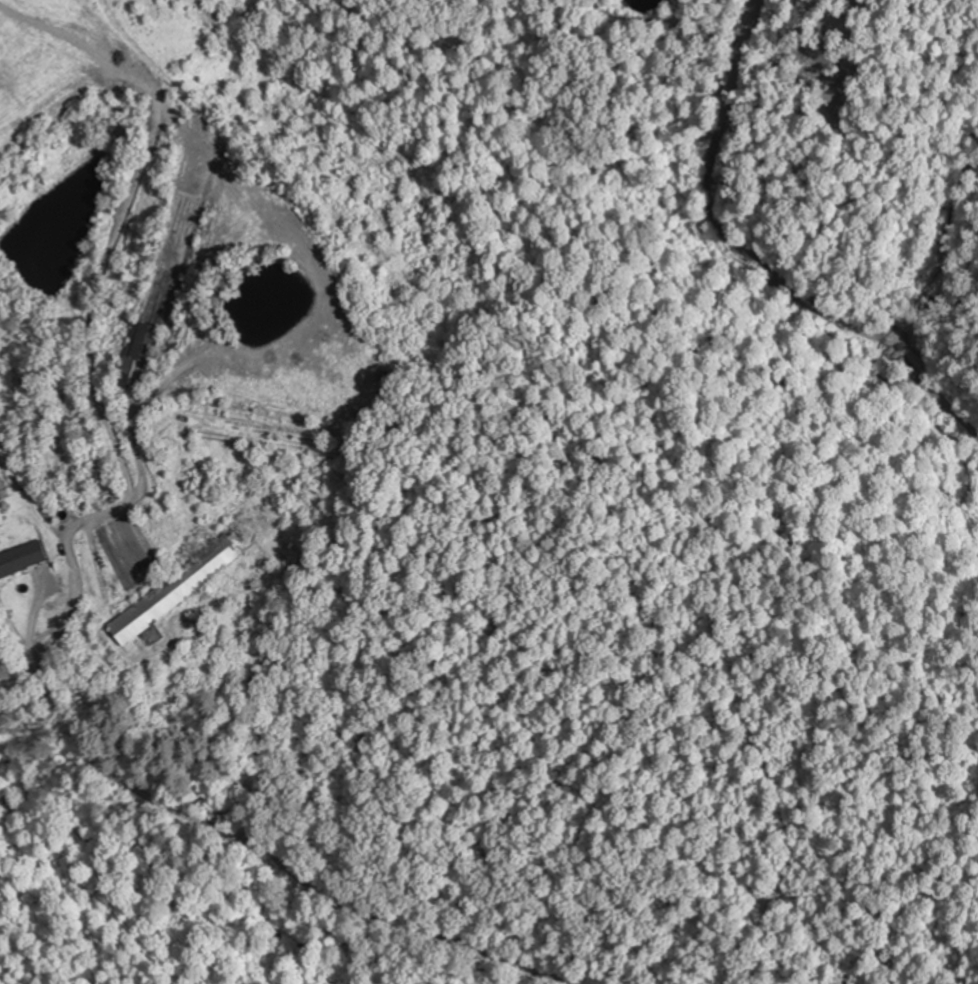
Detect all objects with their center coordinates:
building: (138, 349)
building: (22, 558)
road: (158, 582)
building: (176, 588)

